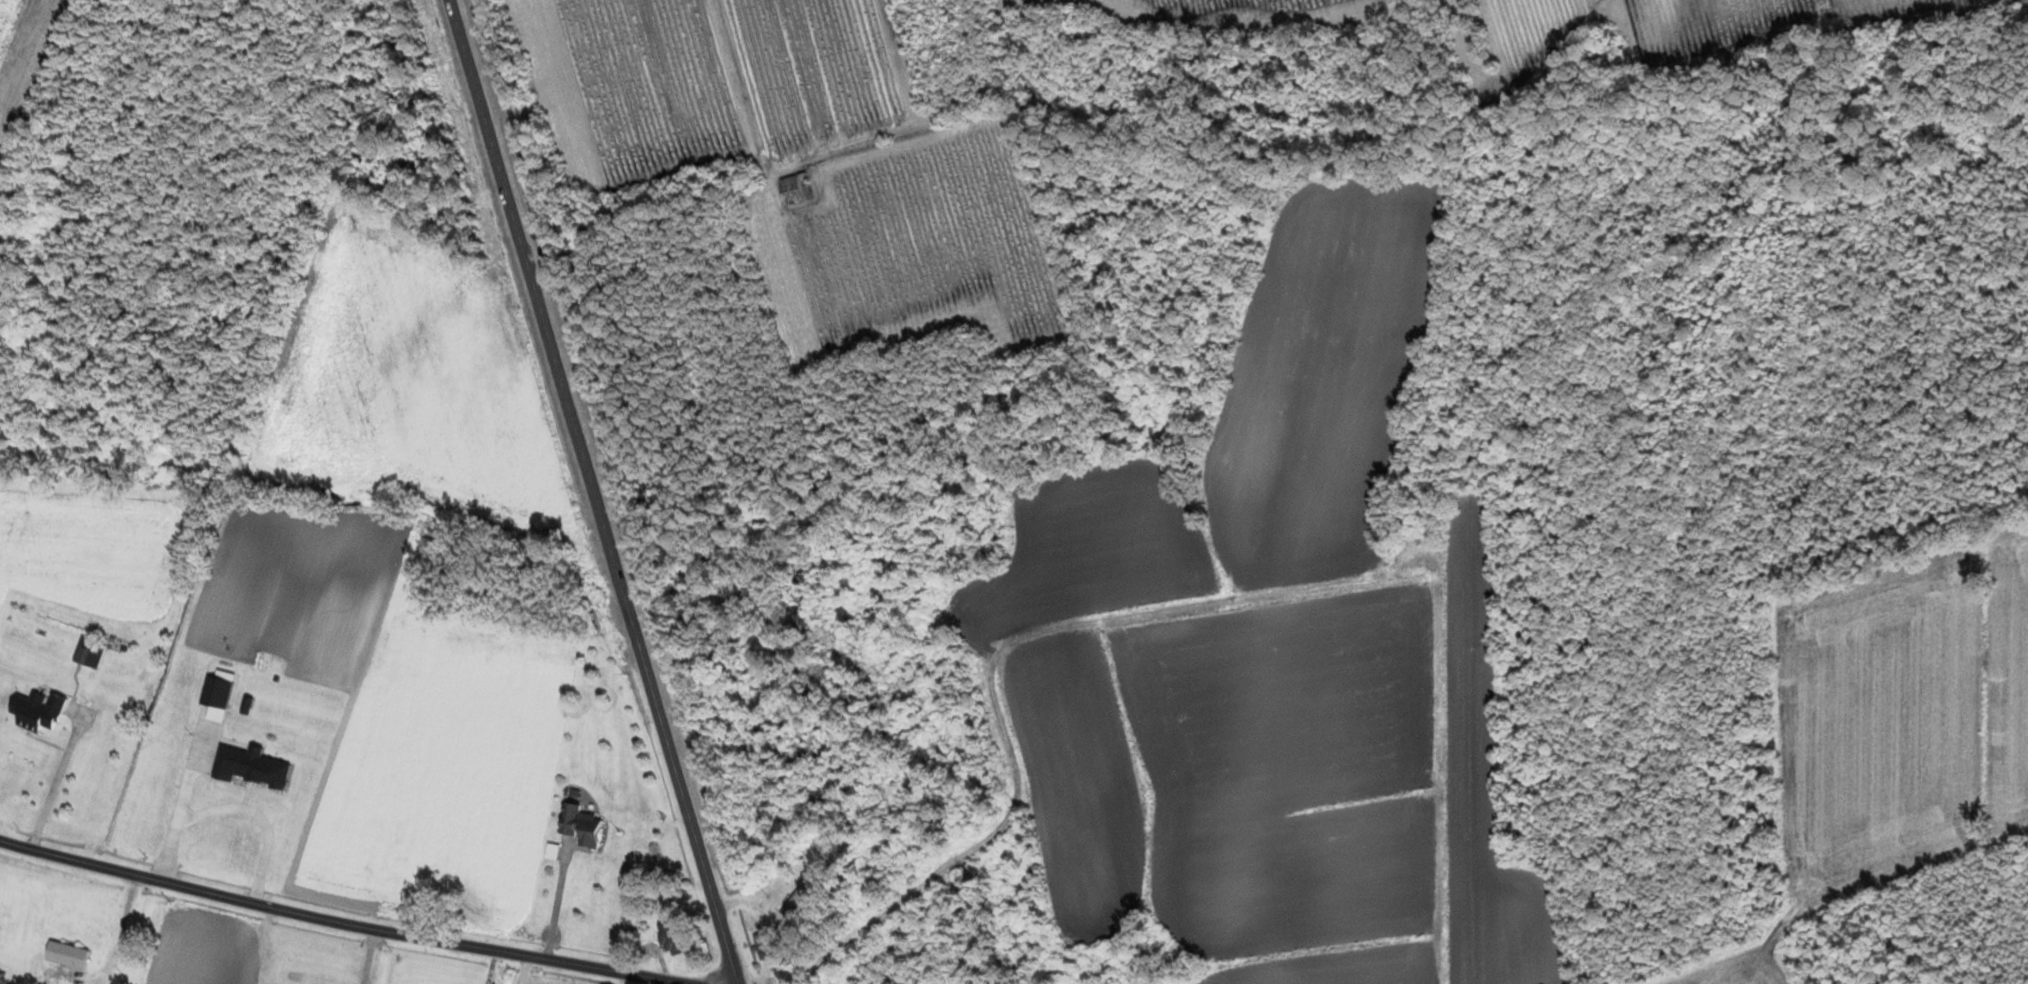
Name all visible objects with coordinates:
building: (794, 189)
road: (595, 491)
building: (81, 655)
building: (36, 711)
building: (579, 827)
building: (793, 899)
road: (338, 919)
building: (667, 938)
building: (762, 945)
building: (64, 955)

